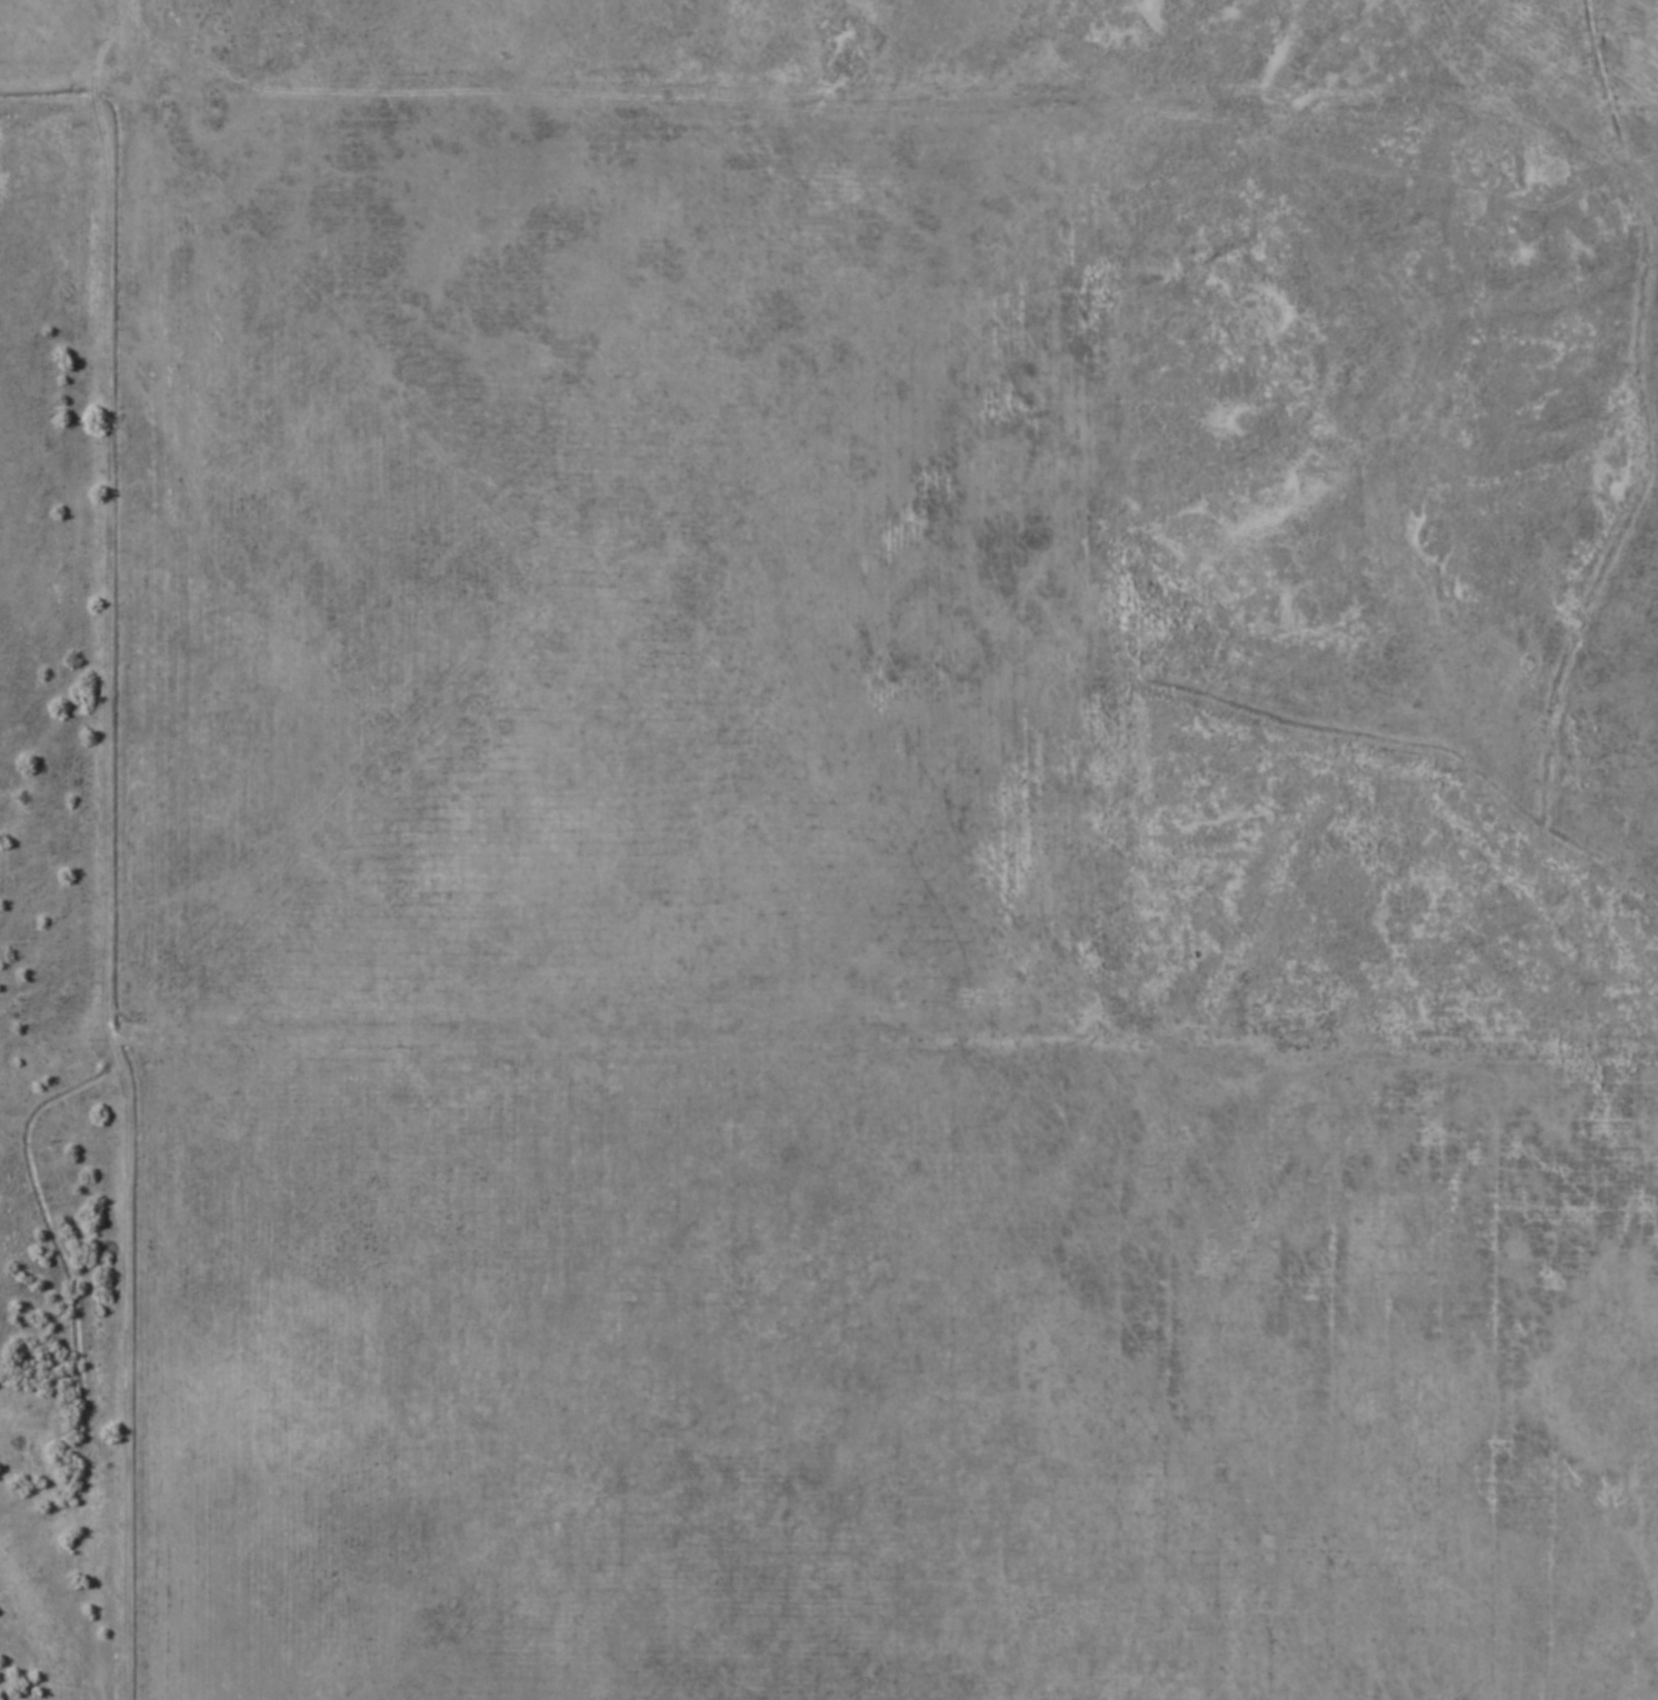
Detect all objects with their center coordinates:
road: (219, 608)
road: (62, 1614)

